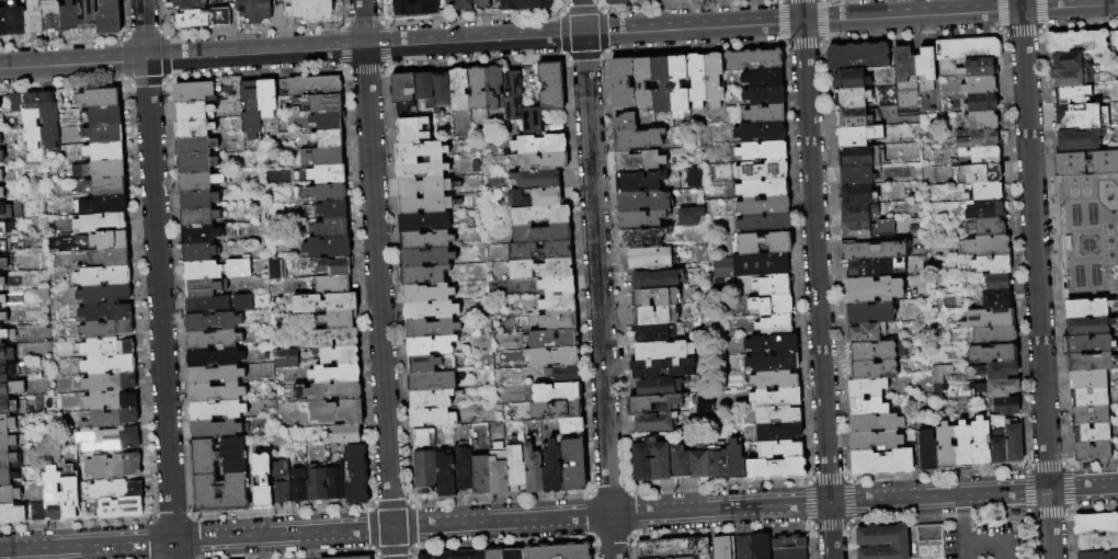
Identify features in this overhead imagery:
building: (615, 1)
building: (187, 3)
building: (481, 4)
building: (524, 4)
building: (463, 5)
road: (1069, 7)
building: (414, 8)
building: (307, 9)
building: (253, 10)
building: (52, 14)
building: (85, 14)
building: (34, 16)
building: (69, 16)
building: (15, 18)
building: (109, 18)
building: (202, 18)
building: (3, 22)
road: (510, 38)
building: (1073, 39)
building: (969, 49)
building: (1116, 49)
building: (858, 56)
building: (1064, 59)
building: (755, 60)
building: (904, 64)
building: (925, 65)
building: (978, 68)
building: (1063, 77)
building: (763, 78)
building: (712, 80)
building: (852, 80)
building: (696, 81)
building: (623, 83)
building: (643, 83)
building: (678, 84)
building: (982, 84)
building: (662, 85)
building: (316, 87)
building: (552, 87)
building: (495, 88)
building: (425, 89)
building: (478, 89)
building: (460, 90)
building: (403, 92)
building: (442, 92)
building: (195, 93)
building: (1069, 93)
building: (513, 95)
building: (765, 95)
building: (267, 98)
building: (96, 99)
building: (853, 99)
building: (982, 102)
building: (15, 104)
building: (323, 104)
building: (251, 111)
building: (196, 112)
building: (765, 114)
building: (1075, 115)
building: (102, 116)
building: (853, 118)
building: (48, 119)
building: (30, 122)
building: (329, 122)
building: (532, 122)
building: (982, 122)
building: (626, 123)
building: (195, 129)
building: (413, 130)
building: (103, 133)
building: (1, 134)
building: (761, 134)
building: (858, 136)
building: (1075, 138)
building: (329, 139)
building: (637, 140)
building: (980, 140)
building: (0, 141)
building: (540, 145)
building: (195, 147)
building: (104, 151)
building: (763, 152)
building: (982, 156)
building: (1, 157)
building: (856, 157)
building: (322, 158)
building: (408, 161)
building: (543, 162)
building: (639, 162)
building: (1083, 162)
building: (197, 164)
building: (100, 169)
building: (763, 171)
building: (0, 174)
building: (980, 174)
building: (326, 175)
building: (858, 175)
building: (691, 178)
building: (539, 180)
building: (201, 182)
building: (639, 182)
building: (105, 186)
building: (424, 186)
building: (764, 189)
building: (1, 193)
building: (329, 193)
building: (985, 193)
building: (856, 195)
building: (537, 198)
building: (198, 199)
building: (643, 203)
building: (107, 205)
building: (425, 205)
building: (765, 207)
building: (2, 210)
building: (333, 210)
building: (986, 210)
building: (859, 213)
building: (541, 215)
building: (687, 216)
building: (201, 217)
building: (641, 220)
building: (425, 223)
building: (99, 224)
building: (765, 225)
building: (988, 227)
building: (5, 228)
building: (333, 229)
building: (867, 230)
building: (543, 235)
building: (202, 236)
building: (642, 238)
building: (109, 240)
building: (426, 240)
building: (765, 243)
building: (4, 244)
building: (985, 247)
building: (329, 248)
building: (540, 251)
road: (814, 251)
building: (874, 251)
building: (201, 253)
building: (112, 258)
building: (427, 258)
building: (650, 258)
building: (3, 264)
road: (376, 264)
building: (993, 264)
building: (335, 266)
building: (752, 266)
building: (274, 269)
building: (543, 269)
building: (875, 269)
building: (239, 270)
building: (204, 271)
building: (424, 275)
building: (103, 276)
road: (596, 278)
road: (1036, 278)
road: (158, 279)
building: (657, 279)
building: (2, 282)
building: (999, 283)
building: (333, 285)
building: (558, 285)
building: (774, 286)
building: (206, 287)
building: (875, 289)
building: (103, 294)
building: (426, 294)
building: (655, 297)
building: (2, 299)
building: (994, 300)
building: (243, 304)
building: (326, 304)
building: (559, 304)
building: (208, 305)
building: (773, 306)
building: (1087, 309)
building: (432, 311)
building: (104, 312)
building: (870, 313)
building: (655, 316)
building: (3, 317)
building: (339, 320)
building: (990, 320)
building: (560, 321)
building: (213, 322)
building: (776, 327)
building: (1087, 327)
building: (432, 329)
building: (105, 330)
building: (655, 333)
building: (8, 334)
building: (866, 334)
building: (995, 336)
building: (333, 339)
building: (214, 340)
building: (555, 340)
building: (0, 343)
building: (773, 344)
building: (1087, 344)
building: (431, 346)
building: (106, 347)
building: (664, 351)
building: (877, 352)
building: (5, 354)
building: (993, 354)
building: (340, 356)
building: (215, 357)
building: (284, 357)
building: (555, 357)
building: (774, 363)
building: (1088, 363)
building: (109, 365)
building: (425, 365)
building: (663, 368)
building: (9, 370)
building: (874, 370)
building: (994, 372)
building: (216, 375)
building: (336, 375)
building: (564, 375)
building: (938, 376)
building: (1088, 379)
building: (775, 380)
building: (109, 383)
building: (432, 383)
building: (659, 387)
building: (10, 388)
building: (996, 388)
building: (330, 392)
building: (558, 392)
building: (217, 393)
building: (1090, 397)
building: (777, 398)
building: (868, 398)
building: (432, 400)
building: (111, 401)
building: (700, 401)
building: (654, 404)
building: (7, 407)
building: (1007, 407)
building: (218, 411)
building: (557, 411)
building: (339, 412)
building: (1091, 415)
building: (778, 417)
building: (433, 418)
building: (111, 419)
building: (7, 423)
building: (654, 423)
building: (1117, 423)
building: (876, 424)
building: (572, 426)
building: (217, 430)
building: (779, 433)
building: (1092, 433)
building: (344, 436)
building: (107, 440)
building: (7, 442)
building: (876, 442)
building: (1014, 443)
building: (982, 444)
building: (946, 447)
building: (965, 447)
building: (999, 447)
building: (780, 449)
building: (1093, 450)
building: (928, 452)
building: (7, 459)
building: (660, 461)
building: (735, 461)
building: (426, 463)
building: (642, 463)
building: (882, 463)
building: (681, 464)
building: (574, 465)
building: (699, 465)
building: (718, 465)
building: (113, 467)
building: (464, 467)
building: (516, 468)
building: (554, 469)
building: (500, 470)
building: (777, 470)
building: (535, 471)
building: (357, 476)
building: (482, 476)
building: (446, 477)
building: (7, 478)
building: (238, 479)
building: (263, 482)
building: (282, 482)
building: (335, 483)
building: (318, 484)
building: (300, 487)
building: (115, 490)
building: (69, 492)
building: (52, 494)
building: (9, 495)
road: (973, 495)
building: (121, 507)
road: (961, 513)
building: (12, 514)
building: (1095, 524)
road: (414, 526)
road: (831, 531)
building: (929, 534)
parking lot: (984, 541)
building: (883, 543)
building: (1098, 543)
road: (391, 544)
road: (962, 544)
road: (990, 546)
building: (745, 547)
building: (761, 547)
building: (725, 548)
building: (790, 548)
building: (674, 549)
building: (560, 552)
building: (456, 555)
building: (495, 555)
building: (515, 555)
building: (1098, 555)
building: (361, 558)
building: (689, 558)

